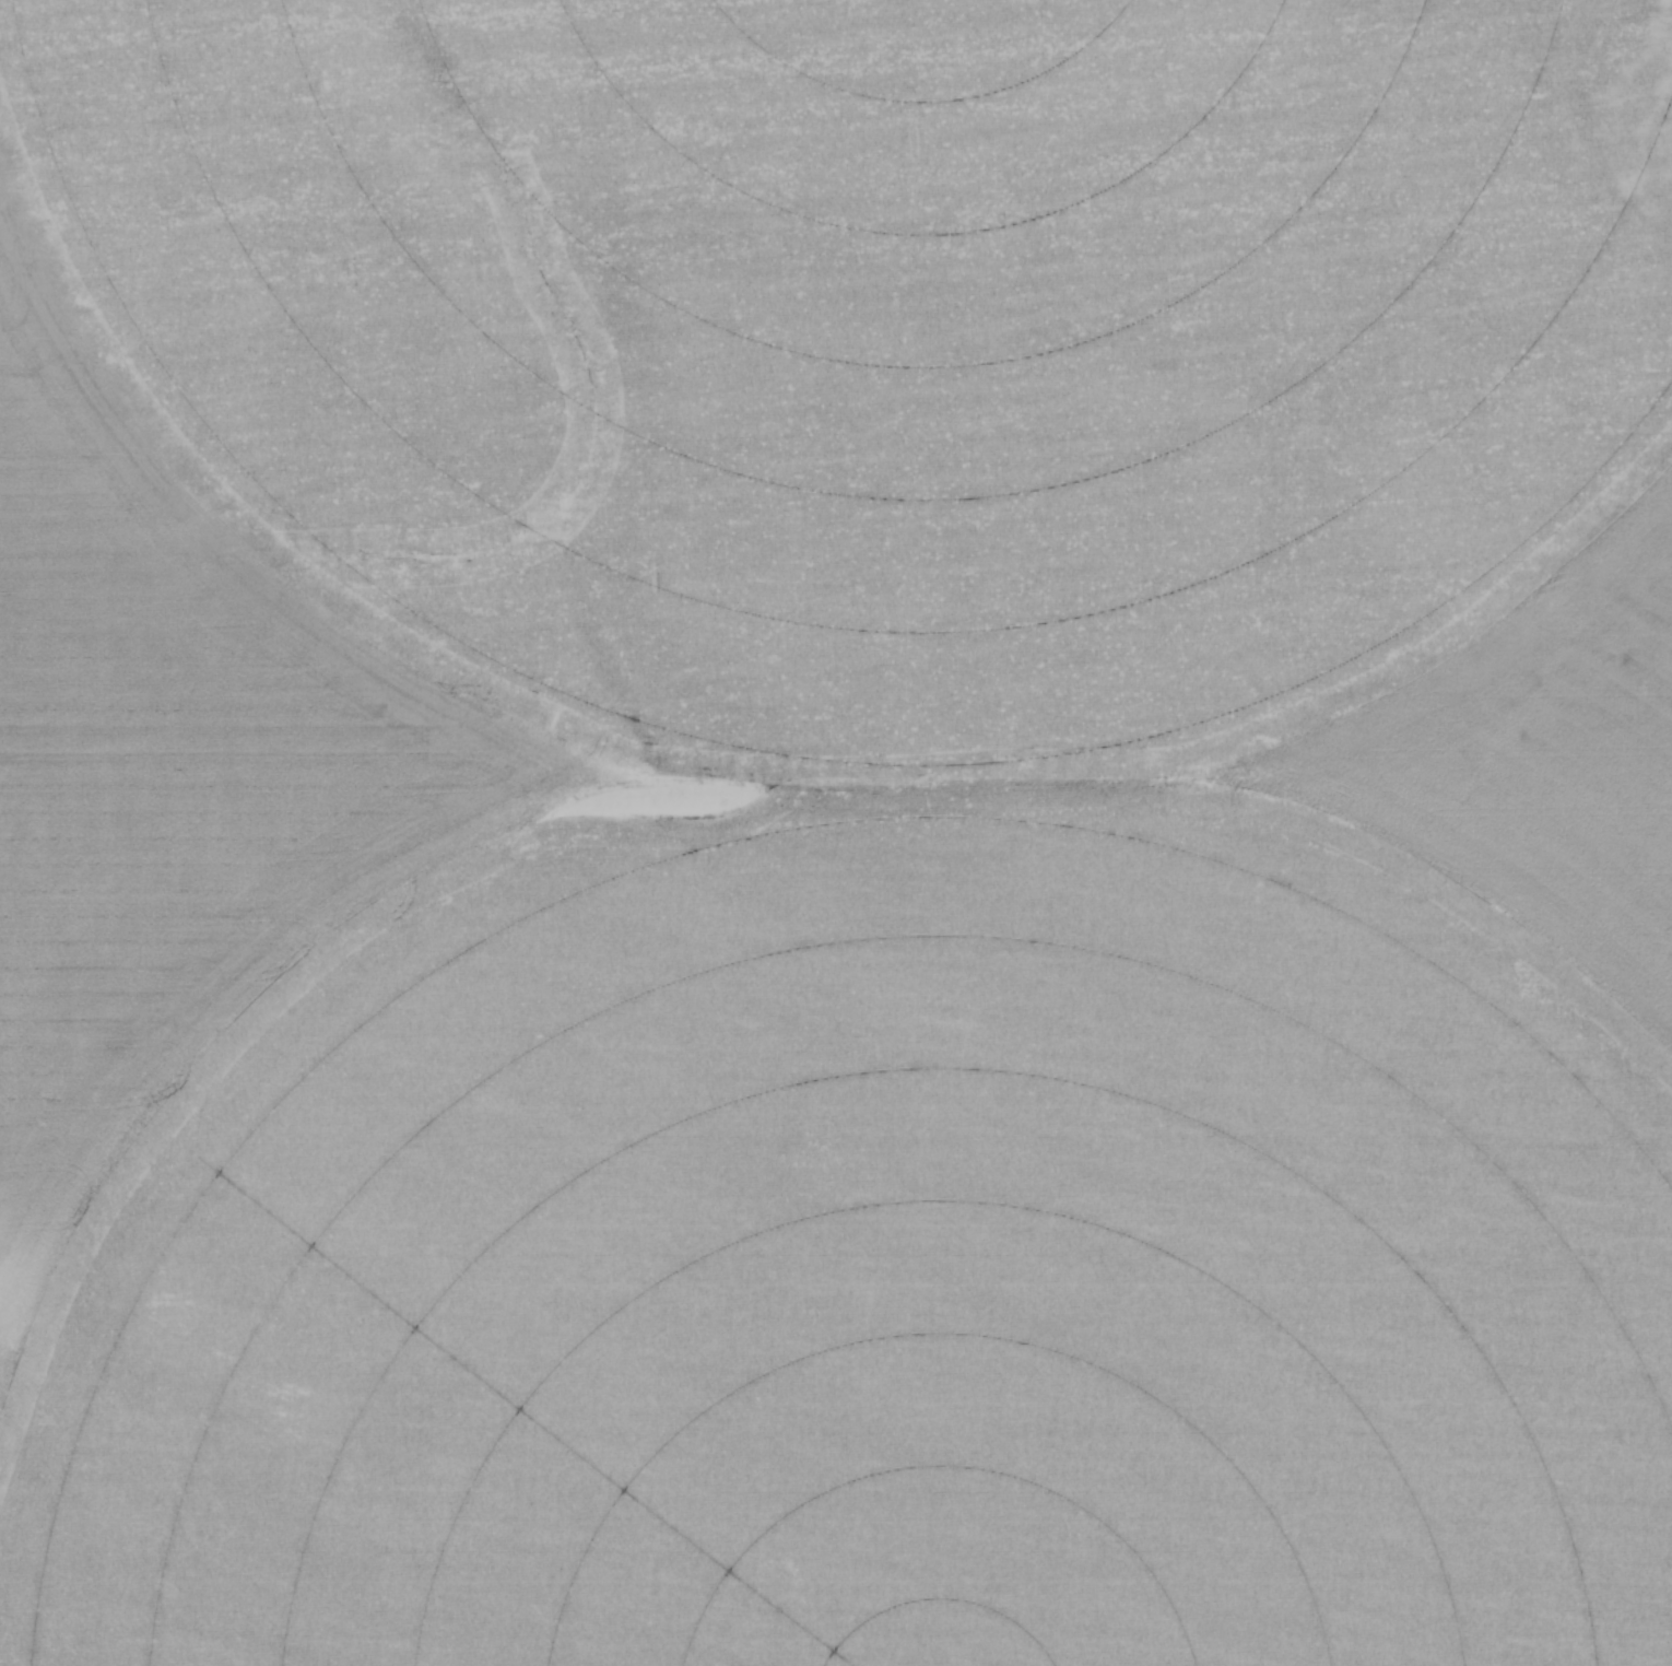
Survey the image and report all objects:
crop: (836, 833)

